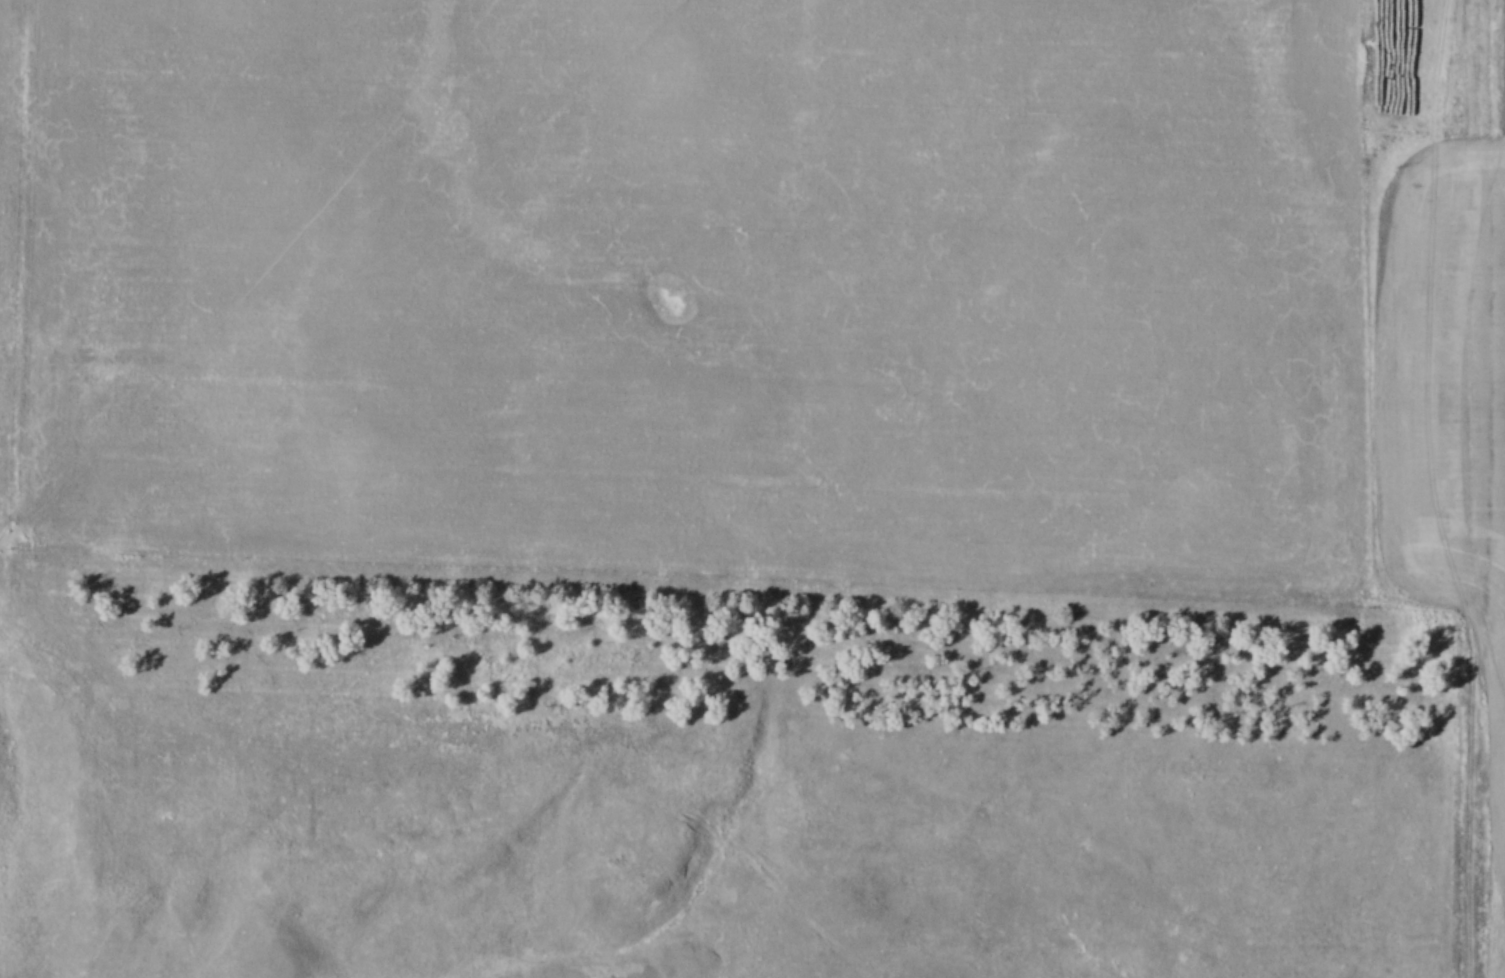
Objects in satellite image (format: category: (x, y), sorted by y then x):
road: (1483, 489)

